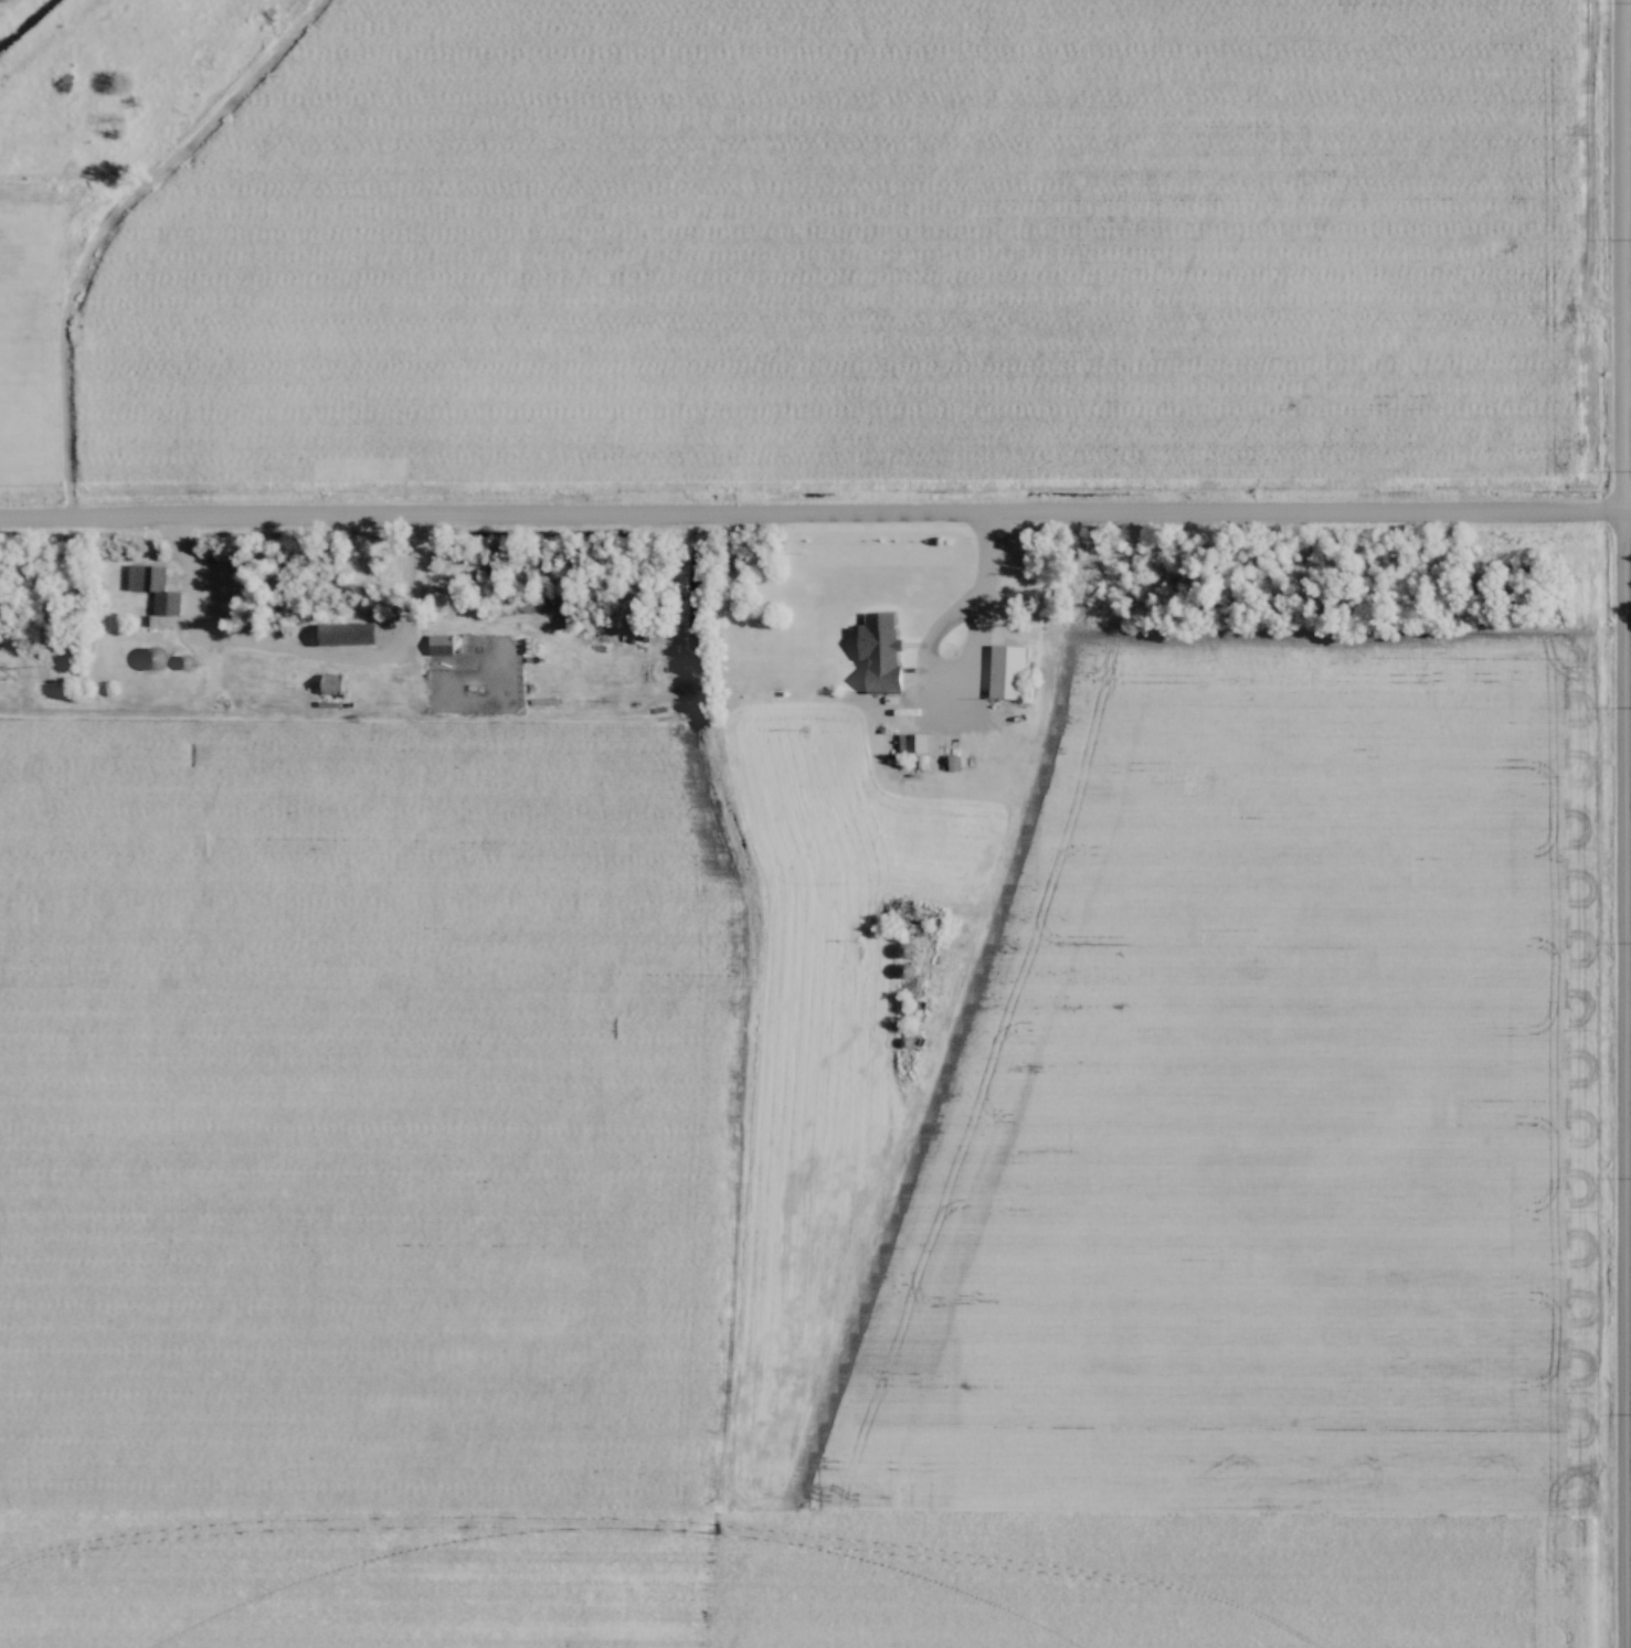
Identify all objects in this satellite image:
road: (815, 520)
building: (148, 580)
road: (983, 621)
building: (348, 636)
building: (442, 645)
building: (880, 653)
road: (311, 658)
building: (155, 660)
building: (1007, 673)
building: (332, 685)
building: (918, 745)
road: (1619, 823)
building: (904, 953)
building: (908, 971)

